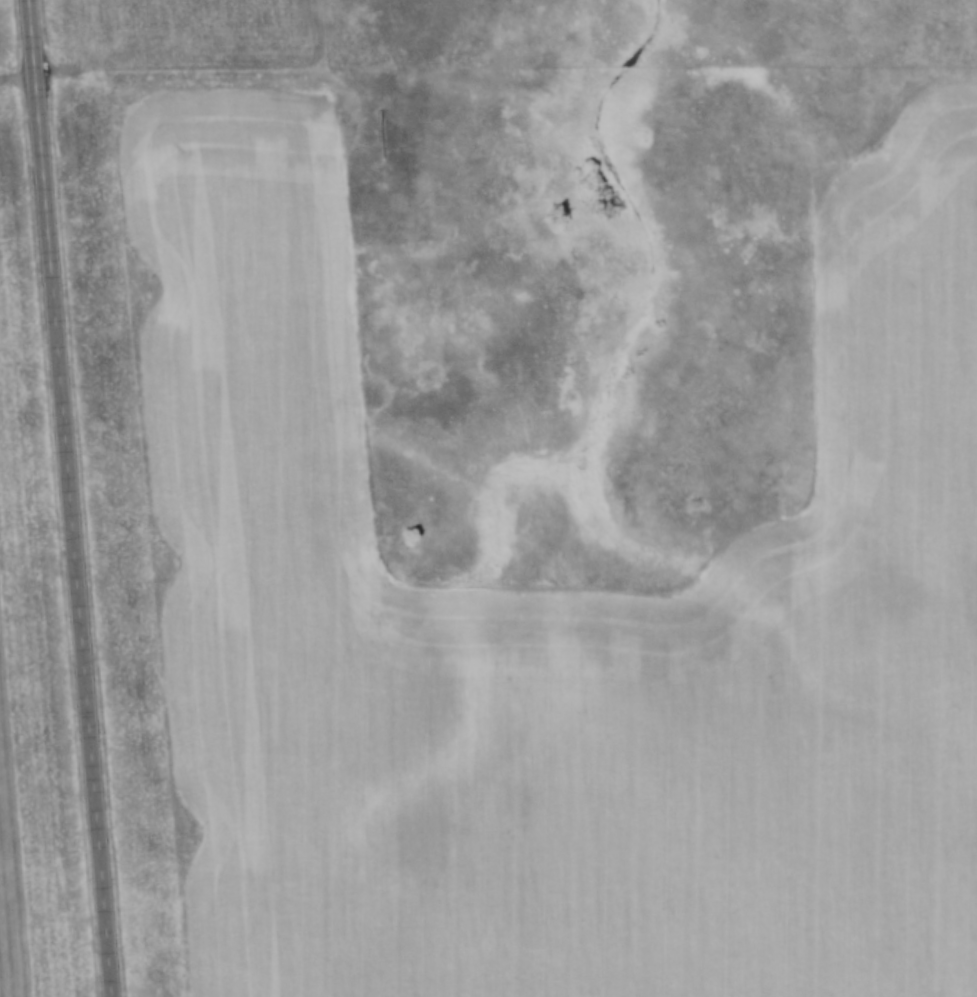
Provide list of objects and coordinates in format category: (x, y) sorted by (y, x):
road: (61, 499)

